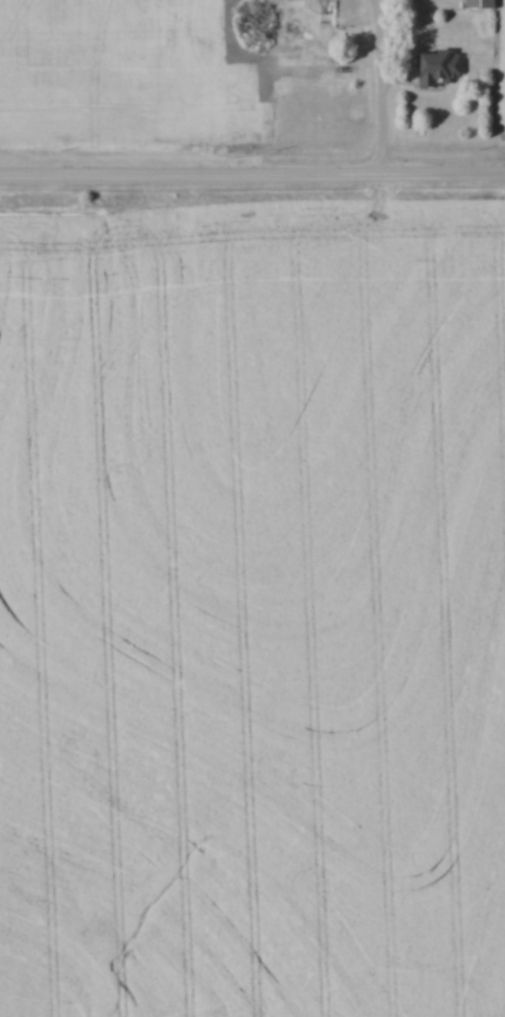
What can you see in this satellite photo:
building: (476, 4)
building: (433, 67)
road: (378, 87)
road: (252, 178)

